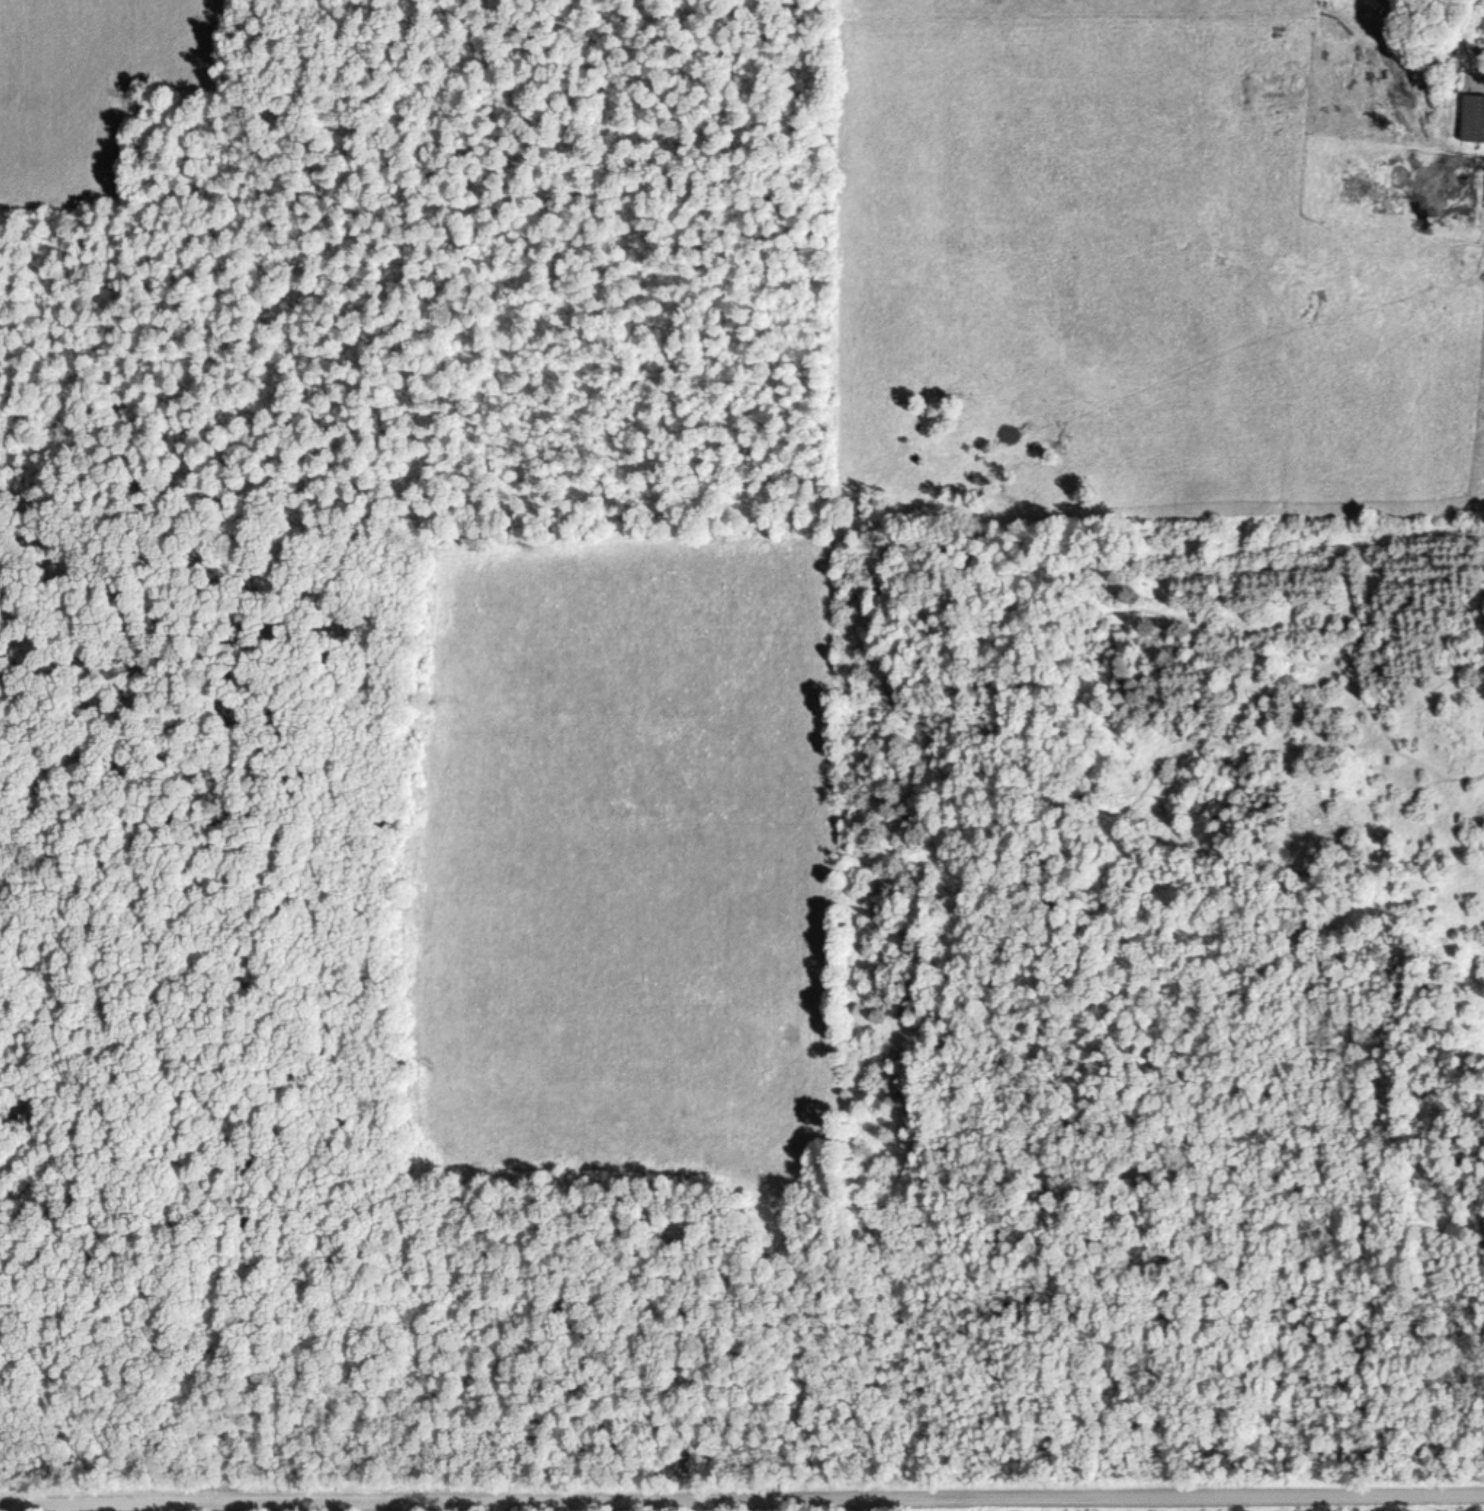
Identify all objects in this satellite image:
building: (1472, 120)
road: (742, 1500)

